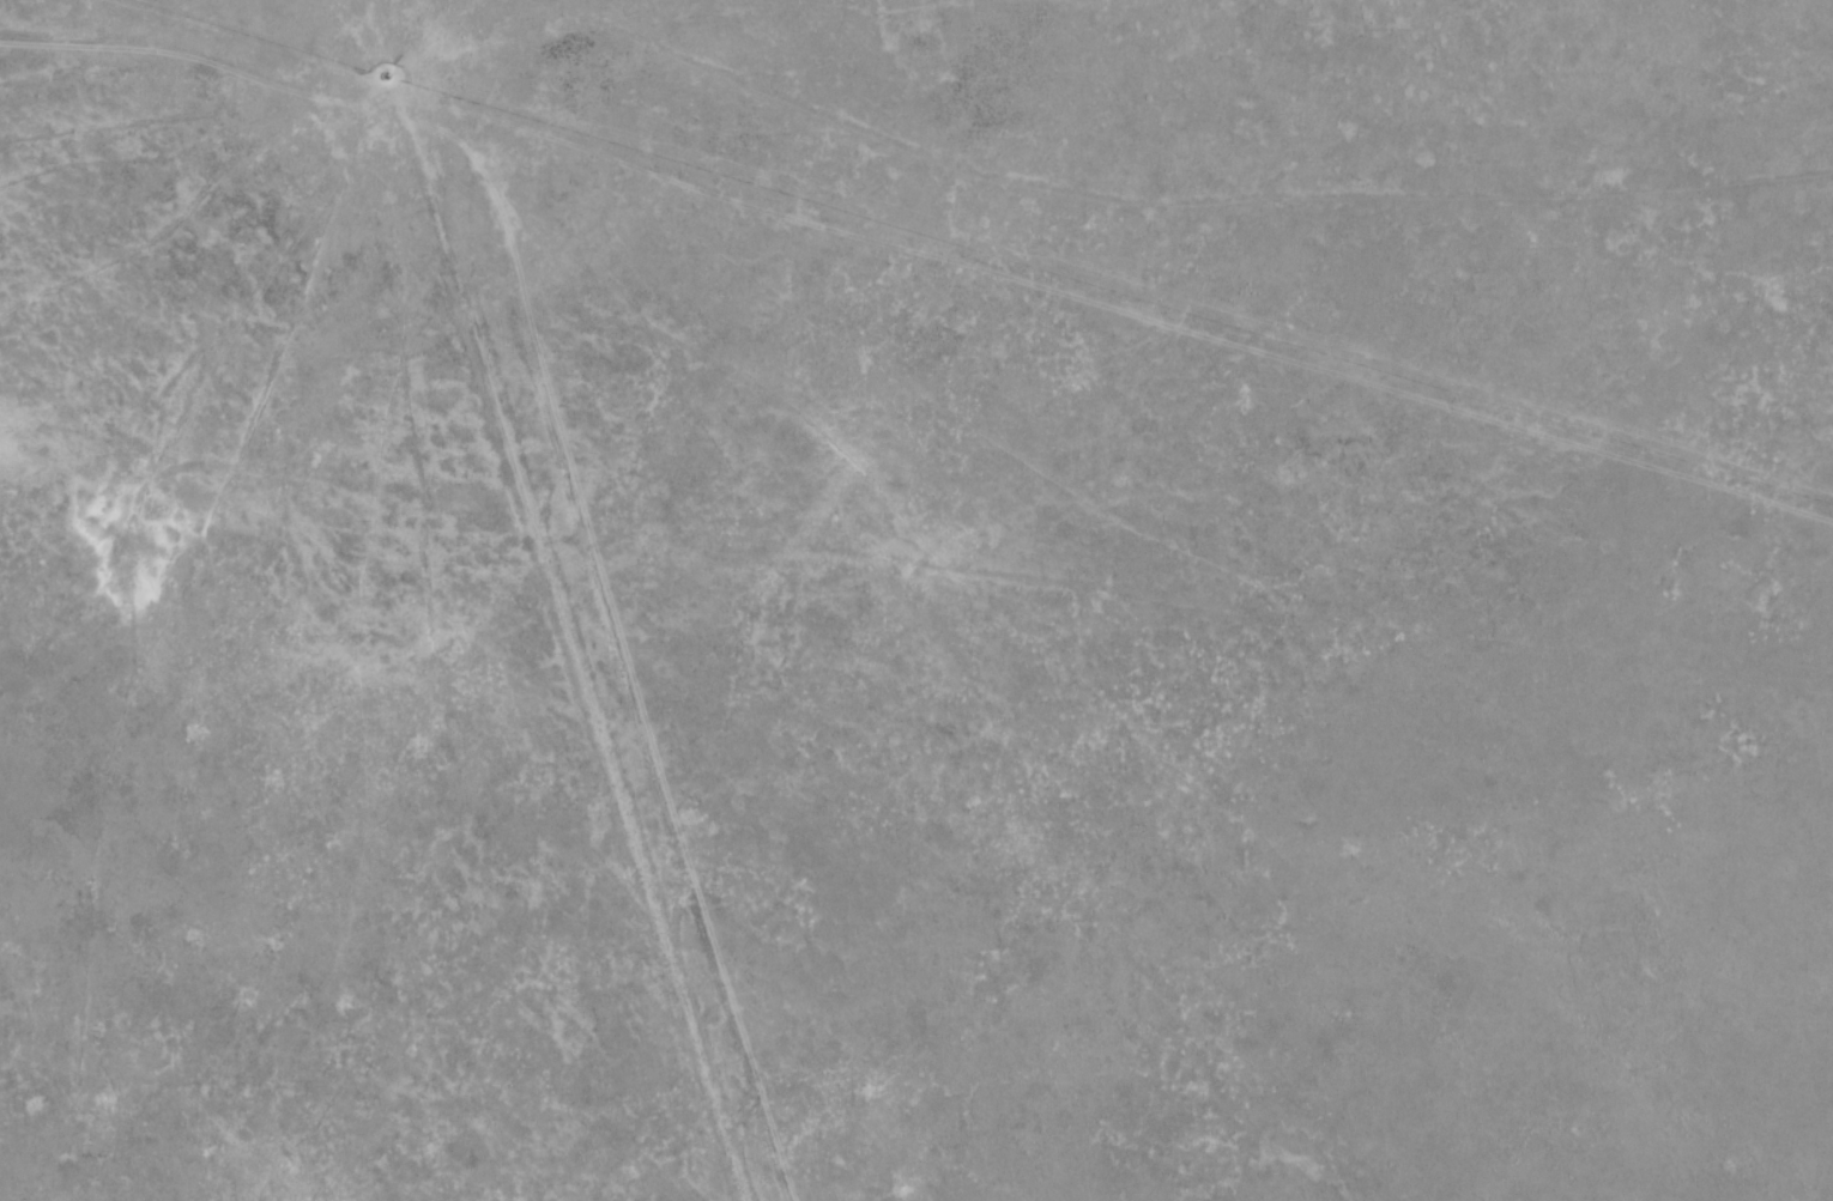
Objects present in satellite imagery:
road: (550, 540)

